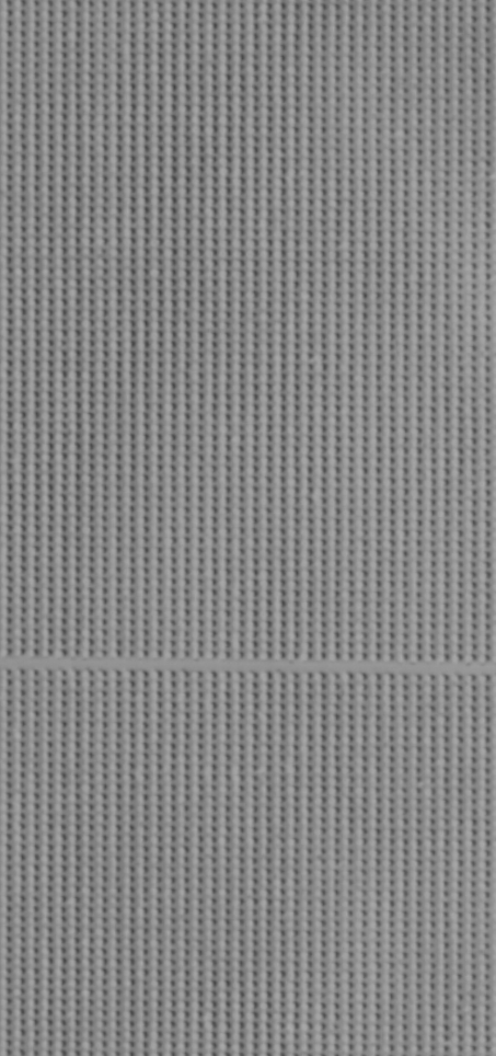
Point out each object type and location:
crop: (247, 528)

